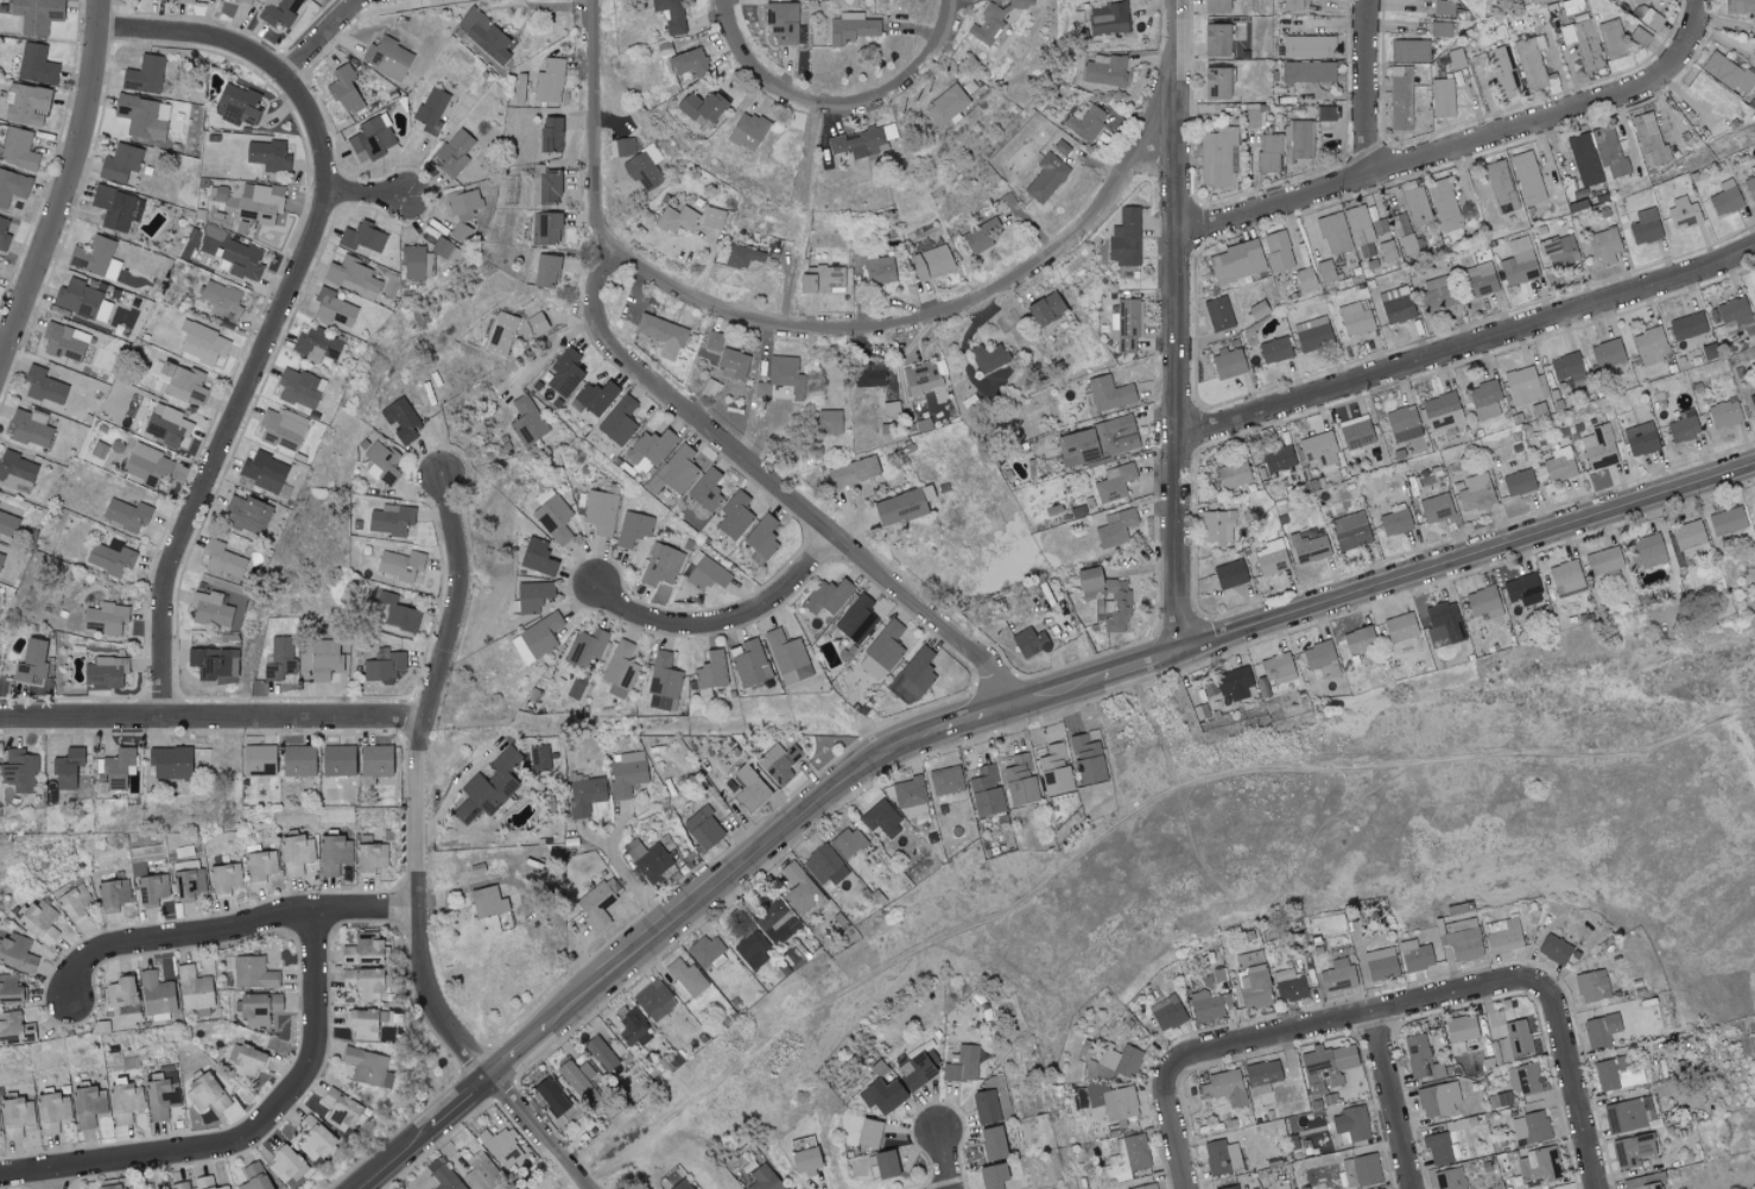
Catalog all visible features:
building: (183, 0)
building: (246, 1)
building: (443, 1)
building: (1636, 1)
building: (1292, 4)
building: (1216, 6)
building: (1738, 6)
building: (1443, 7)
building: (278, 11)
building: (36, 14)
building: (670, 14)
building: (1647, 17)
building: (1108, 18)
building: (994, 21)
building: (781, 23)
building: (850, 27)
building: (1439, 29)
building: (484, 34)
building: (1639, 37)
road: (315, 38)
building: (1611, 39)
building: (1216, 40)
building: (1583, 43)
building: (1309, 46)
building: (1408, 50)
building: (387, 58)
building: (689, 63)
building: (1529, 63)
building: (36, 64)
building: (1104, 70)
building: (1309, 71)
building: (1503, 71)
building: (1728, 72)
road: (914, 74)
building: (144, 75)
road: (761, 76)
building: (550, 81)
building: (1216, 83)
building: (344, 89)
road: (1368, 89)
building: (1712, 94)
building: (1399, 97)
building: (1442, 97)
building: (26, 103)
building: (236, 105)
building: (703, 106)
building: (946, 106)
building: (431, 110)
building: (1325, 113)
building: (140, 116)
building: (1085, 124)
building: (748, 131)
building: (550, 134)
building: (372, 137)
building: (1298, 138)
building: (1648, 140)
building: (857, 143)
building: (621, 147)
road: (1463, 147)
building: (18, 148)
building: (1609, 151)
building: (1268, 152)
building: (454, 153)
building: (267, 156)
building: (1217, 156)
building: (1583, 159)
building: (120, 163)
building: (642, 171)
building: (1046, 177)
building: (1527, 178)
building: (1750, 184)
building: (12, 186)
building: (545, 186)
building: (1501, 186)
road: (66, 189)
road: (365, 197)
building: (1724, 198)
building: (463, 201)
building: (259, 202)
building: (1444, 205)
building: (1417, 207)
building: (115, 208)
building: (1683, 214)
building: (464, 217)
building: (712, 219)
building: (677, 220)
building: (1399, 224)
building: (1645, 227)
building: (545, 228)
building: (1360, 232)
building: (460, 233)
building: (1333, 233)
building: (2, 235)
building: (982, 236)
building: (361, 238)
building: (1124, 238)
building: (1385, 245)
building: (1407, 245)
building: (1604, 246)
building: (443, 249)
building: (1278, 251)
building: (1559, 251)
building: (745, 254)
building: (95, 258)
building: (241, 259)
building: (1236, 261)
building: (932, 263)
building: (1519, 263)
building: (416, 264)
building: (875, 267)
building: (1324, 270)
building: (546, 271)
building: (351, 277)
building: (821, 278)
building: (1305, 278)
building: (1480, 280)
building: (1753, 293)
building: (1436, 295)
building: (82, 301)
building: (221, 301)
road: (284, 301)
building: (1395, 305)
building: (334, 308)
building: (1045, 309)
road: (937, 314)
building: (1218, 314)
building: (1734, 315)
building: (1355, 317)
building: (537, 323)
building: (1126, 325)
road: (1179, 327)
building: (1686, 327)
building: (501, 334)
building: (1312, 334)
building: (661, 335)
building: (63, 342)
building: (202, 342)
building: (712, 342)
building: (316, 344)
road: (1469, 344)
building: (1651, 346)
building: (1274, 350)
building: (1607, 354)
building: (988, 358)
building: (733, 362)
building: (1228, 363)
building: (1567, 368)
building: (783, 371)
building: (565, 373)
building: (869, 375)
building: (921, 378)
building: (180, 384)
building: (43, 386)
building: (1525, 386)
building: (297, 388)
building: (761, 390)
building: (1105, 394)
building: (591, 399)
building: (1485, 400)
building: (1753, 403)
road: (689, 407)
building: (891, 410)
building: (1724, 413)
building: (400, 419)
building: (526, 420)
building: (619, 422)
building: (828, 422)
building: (1402, 424)
building: (166, 425)
building: (433, 425)
building: (1683, 426)
building: (30, 428)
building: (281, 429)
building: (1115, 435)
building: (1356, 435)
building: (1640, 439)
building: (1076, 448)
building: (1598, 448)
building: (97, 450)
building: (650, 450)
building: (1319, 450)
building: (1278, 458)
building: (381, 463)
building: (146, 464)
building: (1559, 464)
building: (17, 472)
building: (264, 472)
building: (674, 472)
building: (853, 472)
building: (1233, 474)
building: (1114, 483)
building: (1518, 483)
building: (707, 491)
building: (1475, 493)
building: (1754, 502)
building: (901, 506)
building: (1436, 508)
building: (600, 512)
building: (125, 514)
building: (247, 514)
building: (552, 517)
building: (734, 517)
building: (391, 519)
building: (1395, 520)
building: (1727, 521)
building: (7, 525)
building: (1217, 527)
building: (1115, 529)
building: (632, 530)
building: (1350, 531)
building: (1689, 539)
building: (762, 540)
building: (1309, 546)
building: (1646, 551)
building: (537, 556)
building: (0, 557)
building: (110, 557)
building: (1272, 557)
building: (222, 559)
road: (1468, 561)
building: (1603, 561)
building: (399, 564)
building: (660, 565)
building: (707, 574)
building: (1229, 575)
building: (1565, 577)
building: (1088, 580)
building: (1521, 588)
building: (531, 596)
building: (828, 596)
building: (1483, 602)
building: (1114, 607)
building: (210, 609)
building: (398, 613)
road: (720, 616)
building: (104, 619)
building: (856, 619)
building: (1443, 625)
building: (1400, 627)
building: (536, 638)
building: (1360, 640)
building: (1029, 643)
building: (886, 646)
building: (585, 647)
building: (787, 658)
building: (1319, 658)
building: (278, 659)
building: (324, 659)
building: (30, 662)
building: (213, 663)
building: (750, 664)
road: (1142, 665)
building: (384, 668)
building: (620, 670)
building: (711, 670)
building: (104, 671)
building: (1279, 672)
building: (913, 677)
building: (663, 682)
building: (1229, 684)
road: (1066, 688)
road: (987, 713)
road: (215, 716)
building: (539, 757)
building: (1088, 758)
building: (258, 759)
building: (297, 760)
building: (337, 760)
building: (375, 760)
building: (170, 761)
building: (778, 763)
building: (119, 766)
building: (66, 767)
building: (19, 770)
building: (1056, 770)
building: (626, 772)
building: (1020, 779)
building: (945, 780)
road: (431, 784)
building: (488, 786)
building: (749, 788)
building: (908, 791)
building: (986, 791)
building: (584, 795)
building: (881, 817)
building: (702, 828)
building: (847, 841)
building: (297, 853)
building: (335, 854)
building: (370, 858)
building: (648, 858)
building: (824, 865)
building: (260, 866)
road: (740, 867)
building: (347, 877)
building: (224, 878)
building: (191, 883)
road: (634, 884)
building: (152, 886)
building: (799, 888)
building: (114, 892)
building: (74, 902)
building: (595, 905)
building: (490, 906)
building: (39, 919)
building: (777, 922)
road: (236, 930)
building: (1352, 932)
building: (1502, 935)
building: (1462, 938)
building: (1553, 948)
building: (361, 950)
building: (752, 950)
building: (17, 951)
building: (705, 951)
building: (1415, 955)
building: (1381, 963)
building: (253, 972)
building: (1337, 974)
building: (686, 976)
building: (1253, 980)
building: (362, 982)
building: (1288, 985)
building: (1591, 985)
building: (9, 988)
building: (194, 988)
building: (120, 991)
building: (157, 995)
building: (654, 999)
building: (1209, 1005)
building: (258, 1007)
building: (1166, 1012)
road: (1351, 1016)
building: (363, 1023)
building: (628, 1026)
building: (14, 1027)
building: (1599, 1030)
building: (1461, 1032)
building: (1515, 1039)
building: (601, 1052)
road: (524, 1055)
building: (1420, 1058)
building: (1120, 1060)
building: (247, 1061)
building: (961, 1063)
building: (367, 1067)
building: (1329, 1068)
building: (918, 1069)
building: (587, 1070)
building: (1608, 1074)
building: (1261, 1075)
building: (574, 1077)
building: (1522, 1079)
road: (1569, 1084)
building: (1224, 1087)
building: (205, 1092)
building: (883, 1094)
building: (551, 1095)
building: (160, 1096)
building: (1438, 1098)
road: (1390, 1100)
building: (125, 1101)
building: (1119, 1102)
road: (467, 1103)
building: (88, 1106)
building: (986, 1106)
building: (338, 1109)
building: (51, 1112)
building: (1623, 1115)
building: (15, 1117)
building: (1351, 1122)
road: (1171, 1128)
building: (868, 1132)
road: (543, 1133)
road: (247, 1137)
building: (312, 1138)
building: (993, 1143)
building: (502, 1147)
building: (1437, 1147)
building: (1632, 1150)
building: (1221, 1156)
building: (1124, 1158)
road: (401, 1159)
building: (805, 1159)
road: (943, 1160)
building: (881, 1163)
building: (285, 1164)
building: (1539, 1166)
building: (1360, 1170)
building: (481, 1171)
building: (443, 1175)
building: (991, 1175)
building: (253, 1177)
building: (764, 1178)
building: (1449, 1178)
road: (55, 1179)
building: (207, 1183)
building: (682, 1184)
building: (178, 1185)
building: (109, 1187)
building: (1145, 1187)
building: (1229, 1187)
building: (1643, 1187)
building: (1380, 1188)

